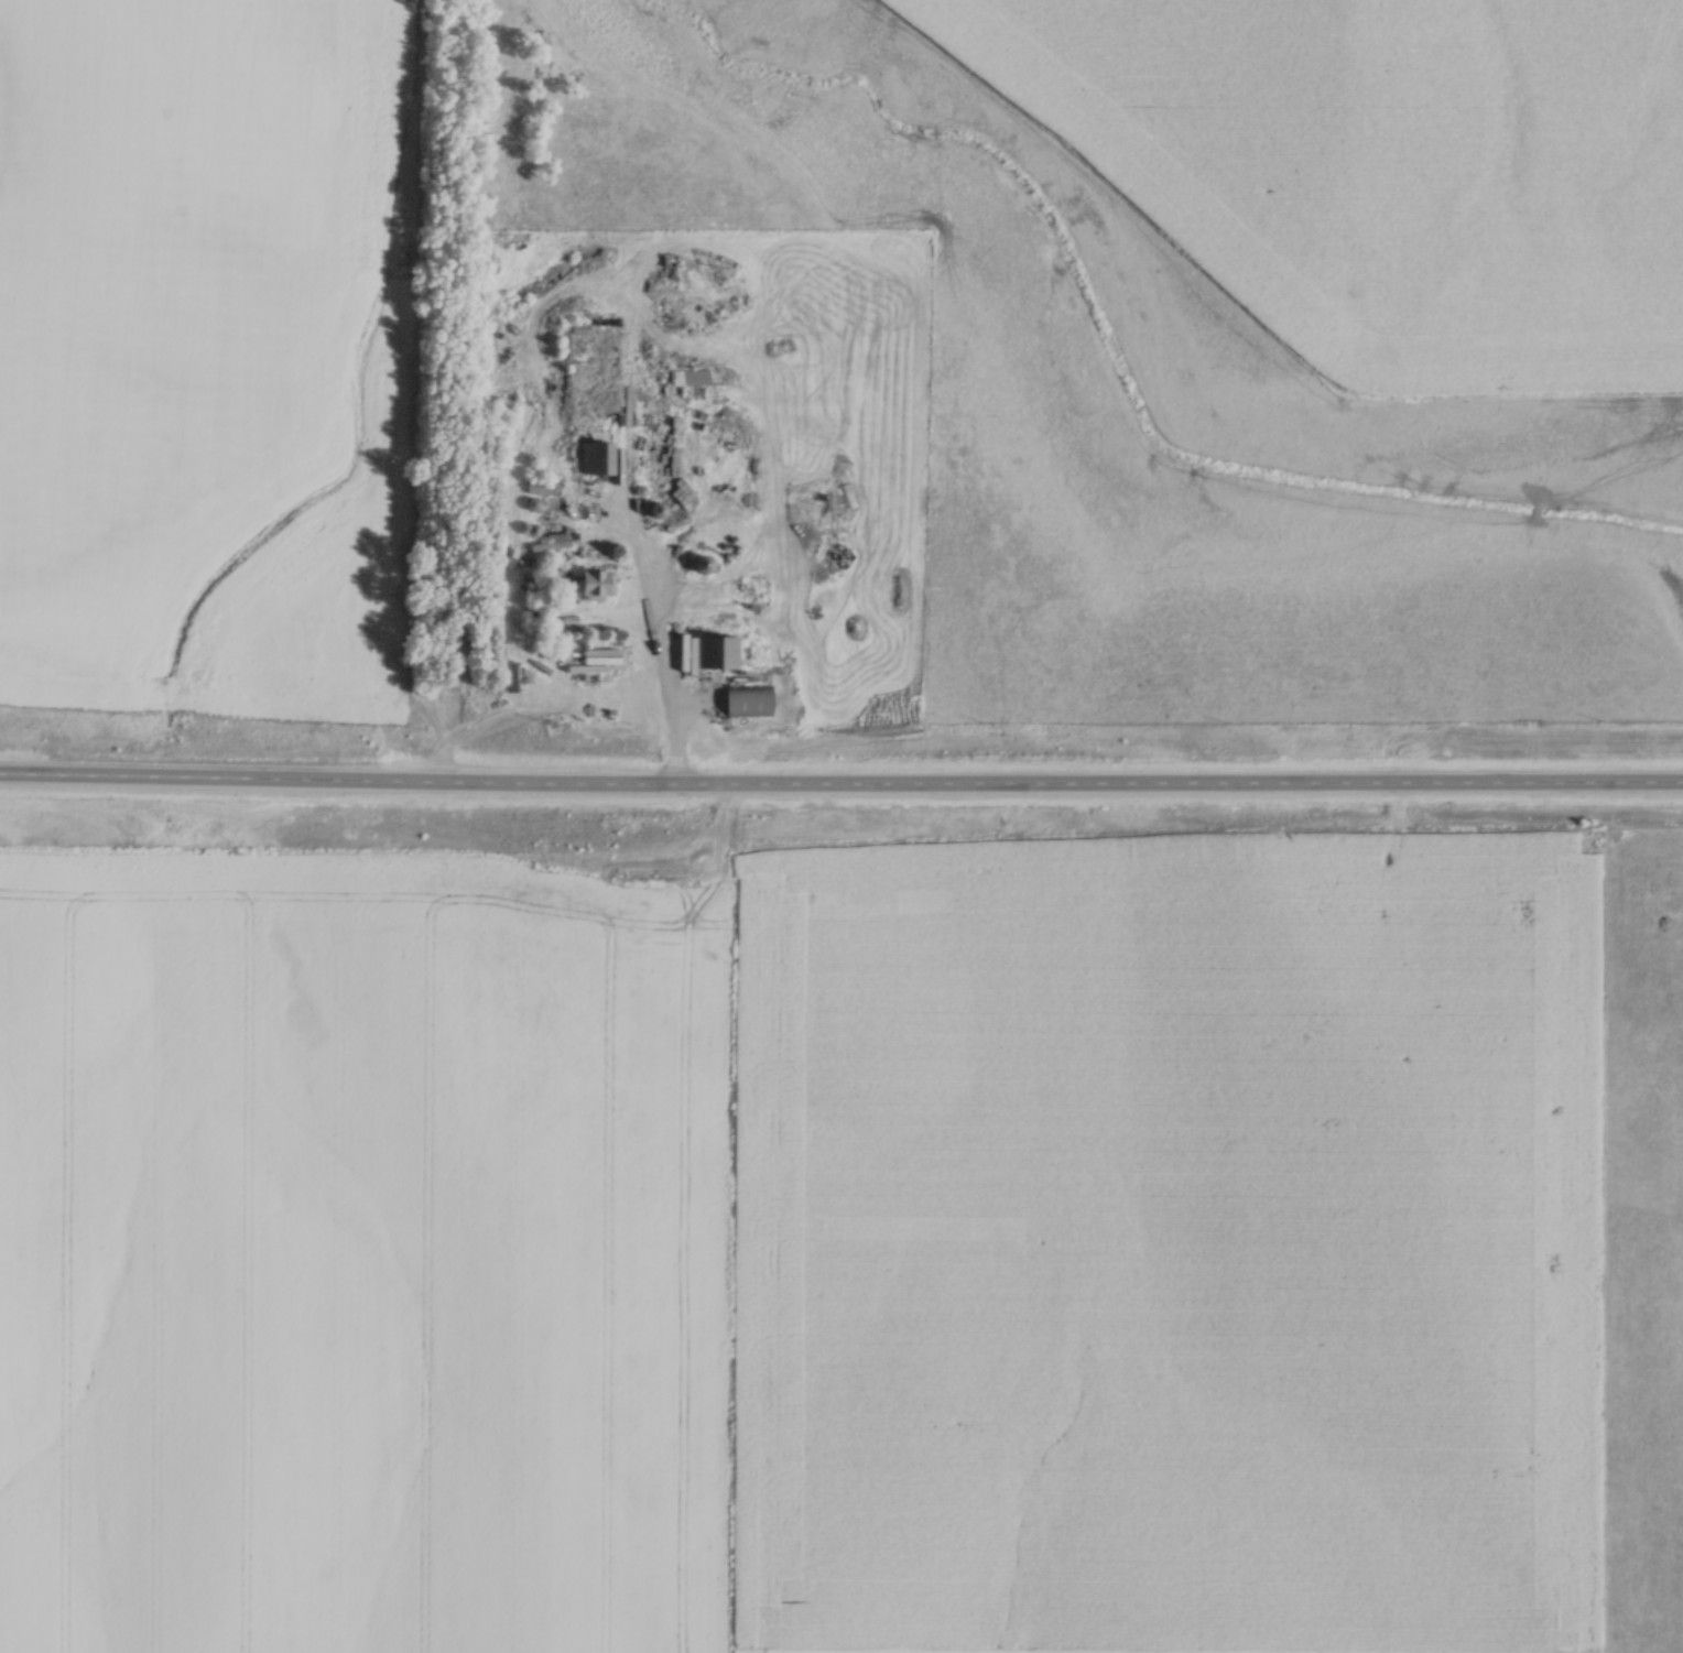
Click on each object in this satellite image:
building: (685, 378)
building: (594, 459)
building: (535, 487)
building: (698, 565)
building: (594, 584)
building: (710, 653)
road: (672, 682)
building: (745, 700)
road: (840, 786)

